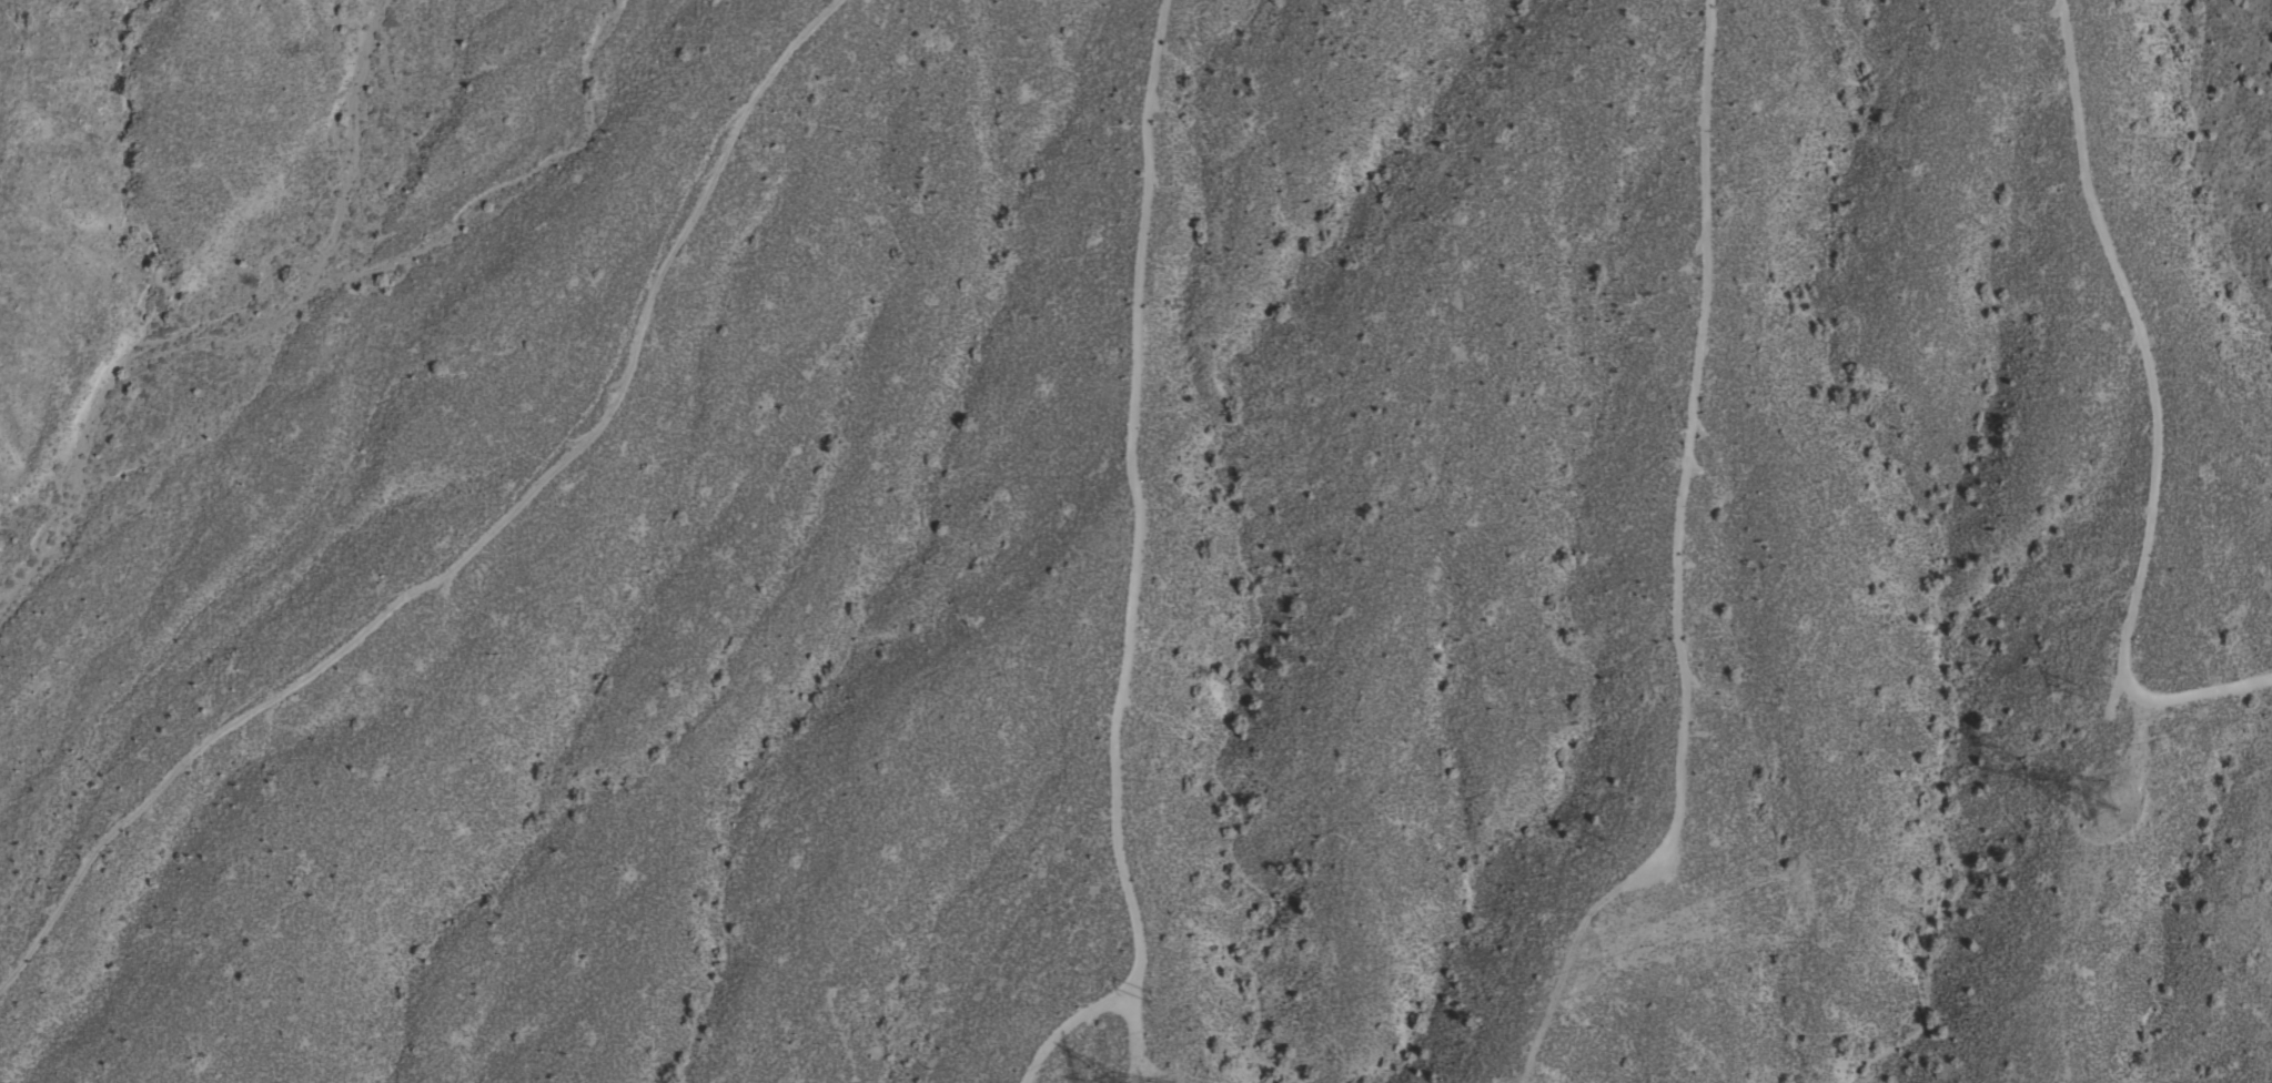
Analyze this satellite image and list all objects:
road: (1150, 131)
road: (2151, 416)
road: (1685, 453)
road: (477, 540)
road: (1118, 699)
power tower: (2097, 797)
road: (2109, 822)
power tower: (1620, 861)
power tower: (1158, 995)
road: (1132, 1029)
road: (1134, 1075)
road: (1151, 1075)

